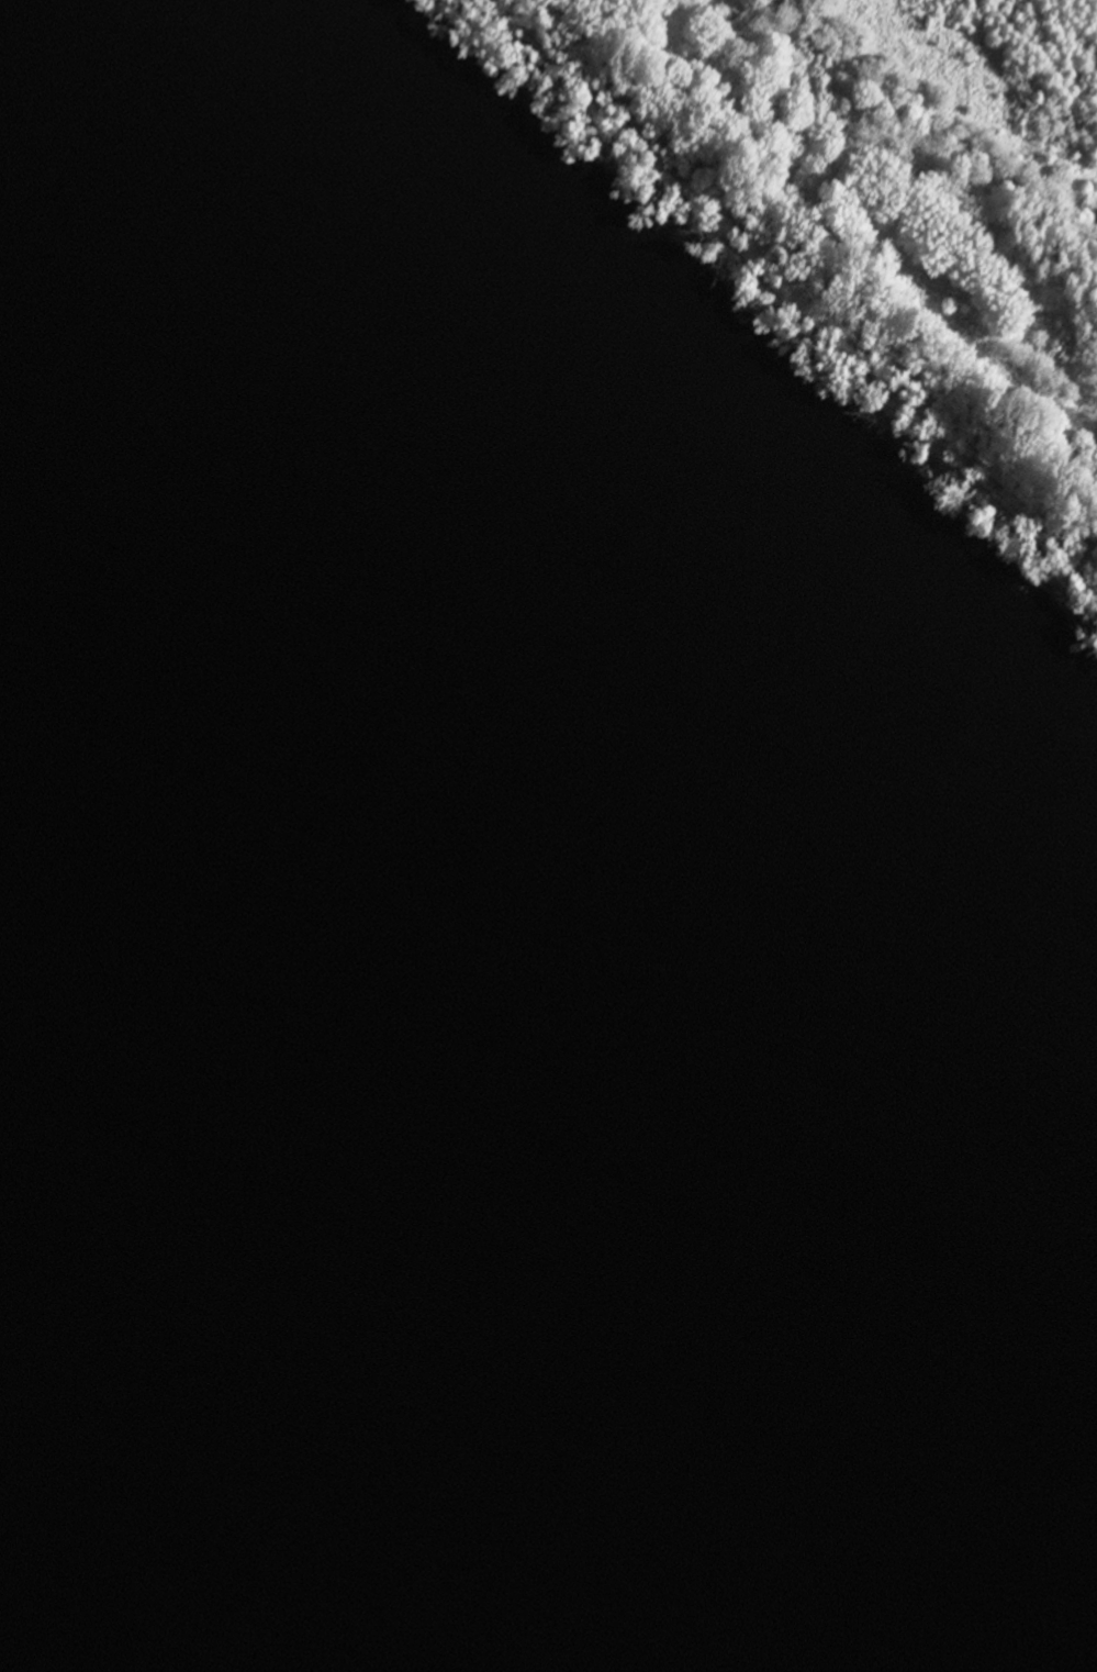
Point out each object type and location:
river: (123, 1571)

